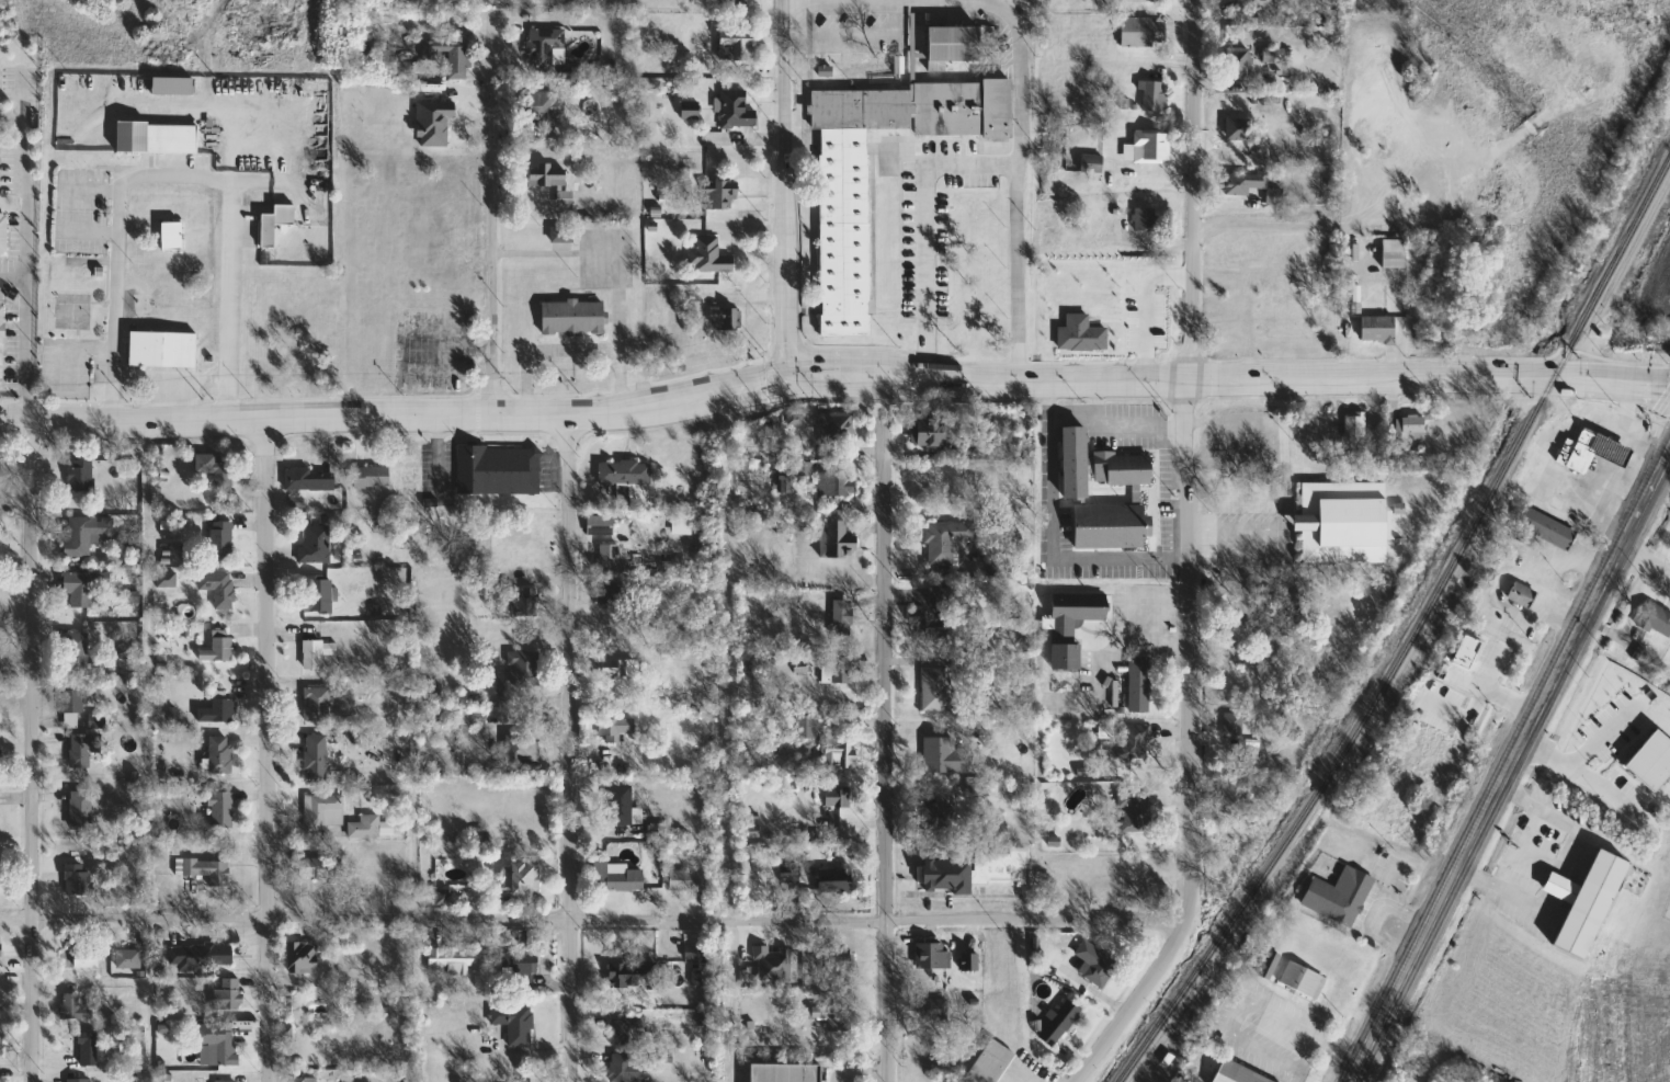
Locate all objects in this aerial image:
road: (861, 1)
building: (1260, 4)
building: (1143, 32)
building: (736, 47)
building: (545, 48)
building: (451, 56)
building: (1274, 56)
building: (1239, 62)
building: (882, 70)
road: (1016, 76)
building: (1154, 96)
building: (545, 103)
building: (734, 110)
road: (13, 114)
building: (1238, 129)
building: (157, 138)
building: (1149, 147)
building: (1092, 163)
road: (973, 164)
building: (547, 175)
road: (178, 176)
building: (1243, 183)
road: (787, 190)
building: (720, 196)
road: (495, 210)
road: (643, 213)
building: (1146, 219)
road: (1270, 228)
building: (268, 230)
building: (3, 232)
building: (171, 236)
building: (844, 238)
road: (26, 248)
building: (1394, 253)
building: (709, 257)
road: (617, 274)
road: (13, 280)
road: (1141, 307)
building: (573, 318)
building: (726, 318)
building: (2, 322)
building: (1377, 329)
building: (1081, 334)
building: (163, 349)
road: (543, 351)
building: (304, 363)
road: (832, 378)
traffic signals: (789, 379)
road: (1075, 419)
road: (1121, 422)
building: (1316, 424)
building: (1355, 425)
building: (837, 426)
building: (929, 431)
building: (1592, 451)
building: (1303, 456)
building: (1075, 463)
building: (1122, 468)
building: (499, 469)
building: (216, 470)
building: (625, 472)
building: (81, 475)
building: (372, 477)
building: (310, 479)
building: (785, 481)
building: (837, 485)
road: (1284, 499)
building: (1343, 522)
building: (601, 524)
building: (1111, 525)
road: (1058, 529)
building: (1543, 529)
building: (88, 534)
building: (840, 539)
building: (947, 539)
building: (221, 540)
building: (316, 544)
road: (1649, 555)
road: (1252, 556)
building: (611, 558)
road: (1188, 559)
road: (1574, 561)
building: (83, 586)
building: (218, 588)
building: (610, 593)
road: (1497, 594)
building: (1522, 594)
building: (318, 595)
building: (529, 601)
road: (1571, 606)
building: (933, 615)
building: (843, 618)
building: (1072, 625)
road: (1586, 625)
railway: (1416, 638)
building: (218, 647)
building: (78, 650)
road: (1042, 650)
building: (314, 653)
building: (617, 668)
building: (521, 670)
building: (839, 670)
building: (1237, 679)
building: (1624, 682)
building: (1139, 684)
building: (939, 690)
road: (1491, 692)
building: (318, 704)
building: (72, 708)
building: (223, 709)
building: (1235, 725)
building: (807, 727)
railway: (1484, 727)
building: (616, 729)
road: (887, 729)
road: (726, 737)
building: (1136, 741)
road: (570, 749)
road: (265, 750)
road: (29, 751)
building: (80, 751)
road: (150, 752)
building: (523, 752)
building: (220, 754)
building: (944, 755)
building: (840, 756)
building: (316, 759)
building: (1236, 793)
building: (838, 796)
building: (621, 806)
building: (220, 809)
building: (81, 810)
building: (325, 811)
building: (1134, 811)
building: (938, 818)
road: (1559, 819)
building: (372, 827)
building: (1004, 866)
building: (791, 873)
building: (946, 875)
building: (617, 878)
building: (521, 879)
building: (689, 879)
building: (79, 880)
building: (834, 880)
road: (1550, 882)
road: (1503, 887)
building: (1340, 896)
building: (1586, 901)
road: (605, 919)
road: (1424, 935)
building: (0, 952)
building: (201, 957)
building: (303, 957)
building: (86, 958)
building: (129, 958)
building: (933, 958)
building: (452, 960)
building: (700, 960)
building: (519, 961)
building: (1098, 963)
building: (1271, 964)
building: (837, 965)
building: (633, 975)
building: (1304, 979)
building: (228, 995)
building: (1, 999)
building: (72, 1003)
building: (935, 1009)
road: (1237, 1010)
building: (834, 1015)
building: (1060, 1022)
building: (515, 1023)
building: (626, 1028)
building: (220, 1040)
building: (2, 1044)
building: (90, 1048)
road: (1338, 1049)
road: (1307, 1053)
building: (992, 1062)
building: (622, 1068)
building: (785, 1072)
road: (861, 1073)
building: (1239, 1073)
building: (0, 1079)
building: (80, 1080)
building: (227, 1081)

